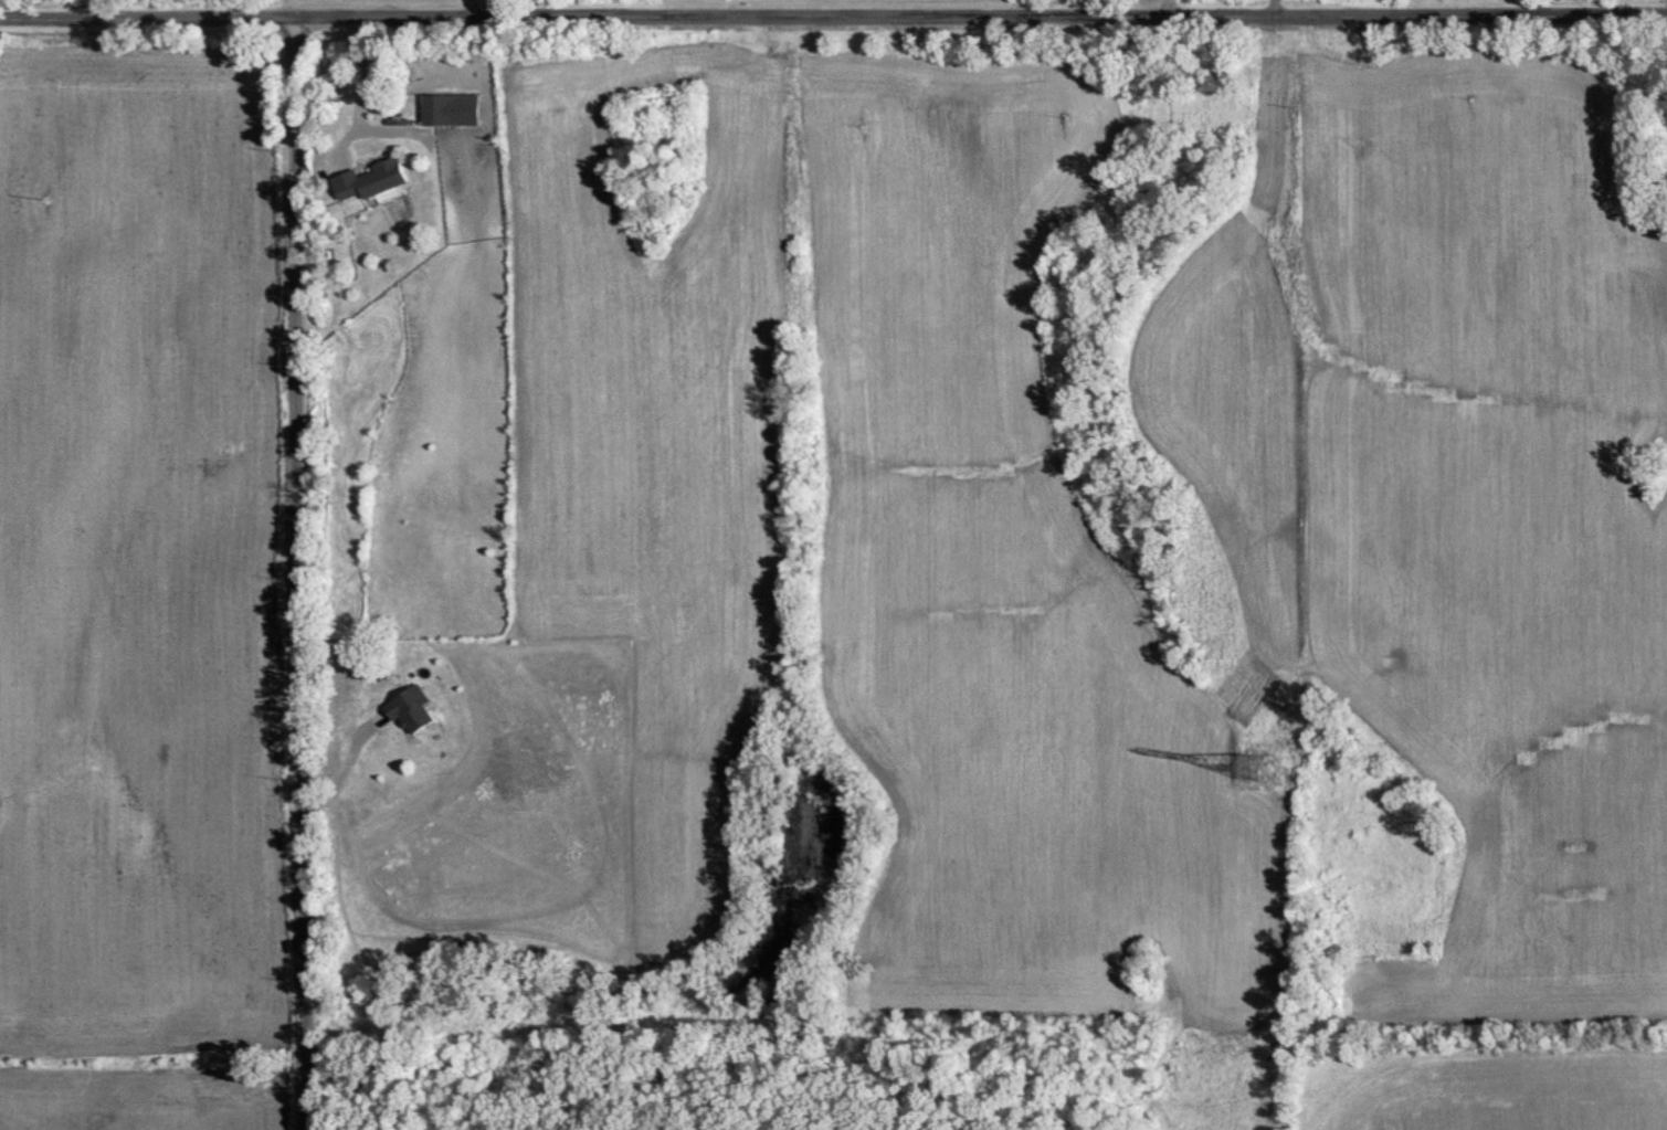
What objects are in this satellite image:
road: (1530, 7)
road: (469, 8)
road: (833, 15)
building: (453, 108)
building: (1664, 122)
building: (372, 178)
road: (299, 572)
building: (410, 707)
power tower: (1248, 764)
road: (341, 767)

